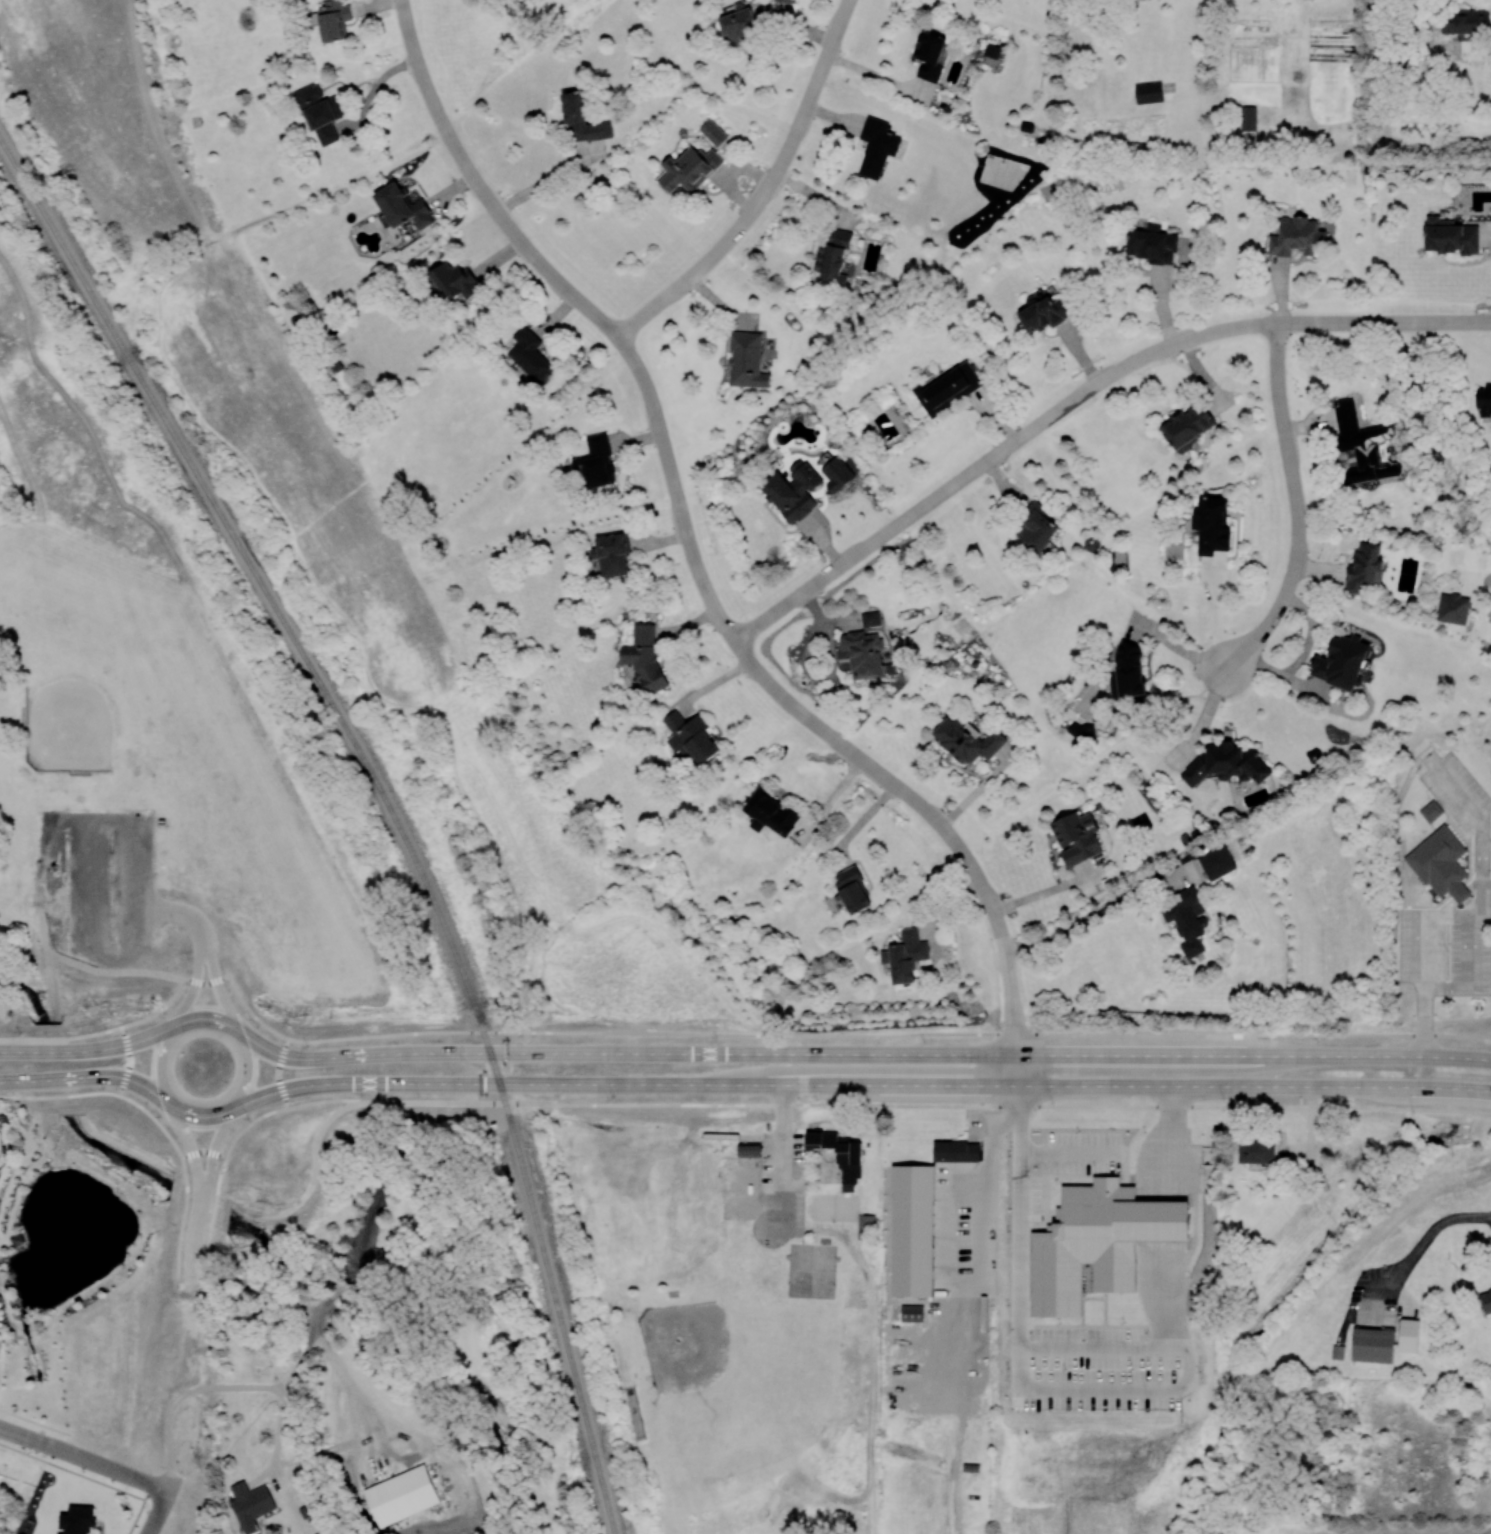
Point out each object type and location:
building: (786, 1)
building: (334, 19)
building: (1465, 21)
building: (739, 24)
building: (992, 50)
building: (929, 55)
road: (419, 67)
road: (878, 76)
road: (375, 84)
building: (1149, 92)
building: (319, 111)
building: (1248, 117)
building: (582, 119)
building: (713, 132)
road: (450, 140)
building: (876, 146)
building: (688, 169)
road: (549, 181)
road: (767, 190)
building: (403, 207)
building: (1296, 236)
building: (1450, 236)
building: (1151, 243)
road: (534, 256)
building: (454, 280)
building: (1044, 313)
building: (530, 353)
building: (747, 360)
building: (948, 387)
road: (1081, 392)
building: (1484, 401)
road: (656, 419)
building: (1188, 425)
building: (1364, 445)
building: (596, 462)
building: (835, 471)
building: (792, 489)
road: (1298, 506)
building: (1211, 525)
building: (1037, 527)
park: (345, 530)
building: (611, 554)
building: (1364, 567)
railway: (268, 592)
building: (1453, 608)
building: (870, 618)
road: (1179, 648)
building: (863, 652)
road: (1303, 656)
building: (645, 658)
building: (1343, 662)
building: (1127, 670)
park: (122, 671)
road: (1206, 716)
road: (822, 729)
building: (1081, 730)
park: (161, 733)
building: (691, 736)
building: (966, 740)
building: (1226, 764)
building: (1430, 811)
building: (770, 812)
building: (1076, 836)
building: (1216, 862)
building: (1440, 863)
road: (131, 869)
road: (60, 883)
parking lot: (99, 883)
road: (88, 889)
building: (853, 890)
road: (1044, 892)
road: (179, 912)
road: (1093, 918)
building: (1186, 919)
building: (906, 955)
road: (110, 961)
road: (49, 966)
road: (114, 973)
road: (1010, 981)
road: (197, 987)
road: (1447, 987)
road: (223, 991)
road: (1424, 1021)
street lamp: (1119, 1031)
road: (236, 1032)
road: (618, 1032)
road: (62, 1039)
road: (1015, 1045)
road: (91, 1050)
road: (864, 1053)
road: (283, 1064)
road: (1017, 1076)
road: (98, 1077)
road: (7, 1082)
road: (862, 1085)
road: (62, 1096)
street lamp: (1224, 1098)
road: (287, 1099)
street lamp: (1053, 1102)
road: (177, 1104)
road: (361, 1104)
road: (1025, 1108)
road: (1173, 1119)
road: (242, 1134)
road: (1312, 1137)
road: (123, 1148)
road: (194, 1148)
road: (1020, 1148)
road: (216, 1149)
building: (749, 1149)
building: (956, 1151)
building: (1256, 1151)
road: (206, 1152)
building: (840, 1153)
road: (783, 1157)
road: (985, 1173)
park: (833, 1207)
building: (866, 1226)
building: (913, 1230)
building: (1097, 1242)
road: (1419, 1247)
park: (84, 1249)
road: (195, 1251)
park: (811, 1256)
park: (810, 1283)
railway: (555, 1300)
building: (1486, 1300)
building: (912, 1312)
building: (1373, 1344)
building: (1337, 1351)
park: (209, 1362)
park: (740, 1389)
road: (191, 1401)
park: (635, 1412)
road: (36, 1422)
road: (26, 1436)
road: (1457, 1448)
road: (110, 1469)
road: (72, 1471)
building: (401, 1495)
building: (250, 1504)
road: (139, 1509)
road: (158, 1511)
building: (78, 1520)

